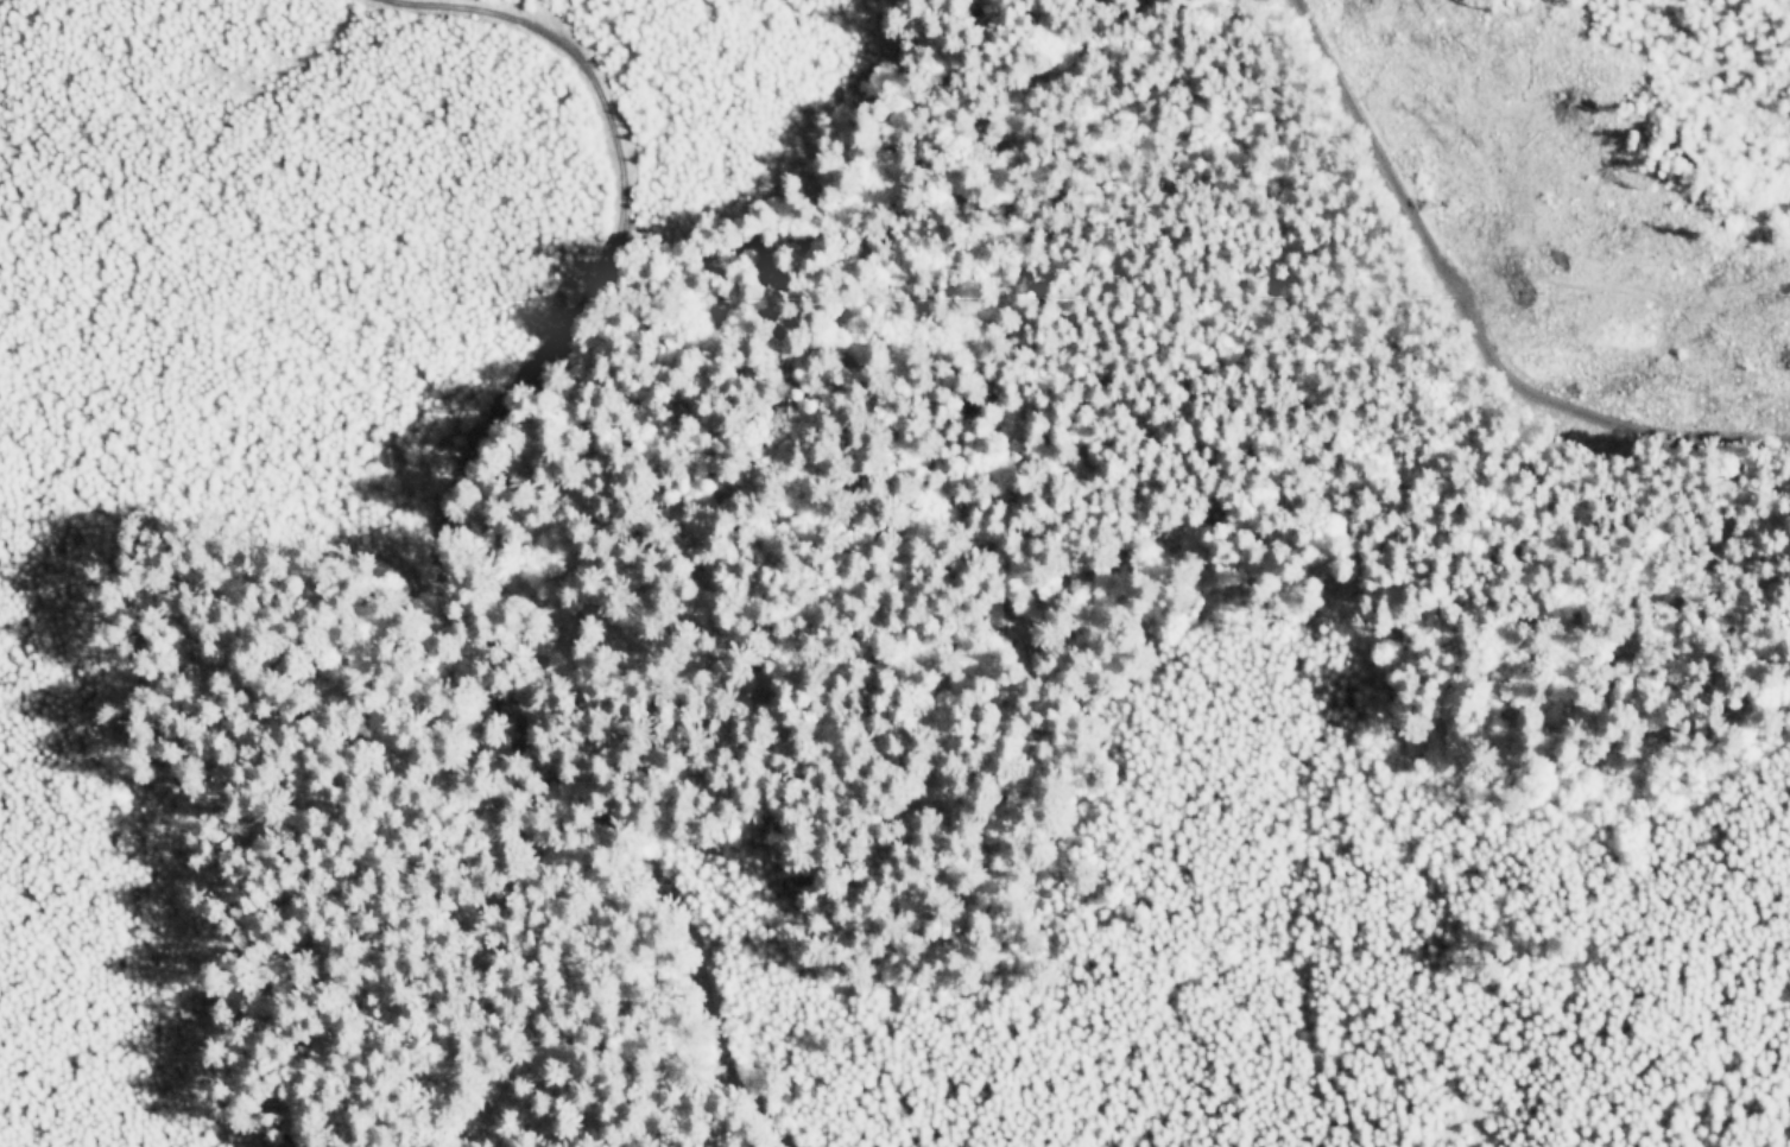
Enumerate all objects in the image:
road: (1476, 315)
road: (470, 587)

